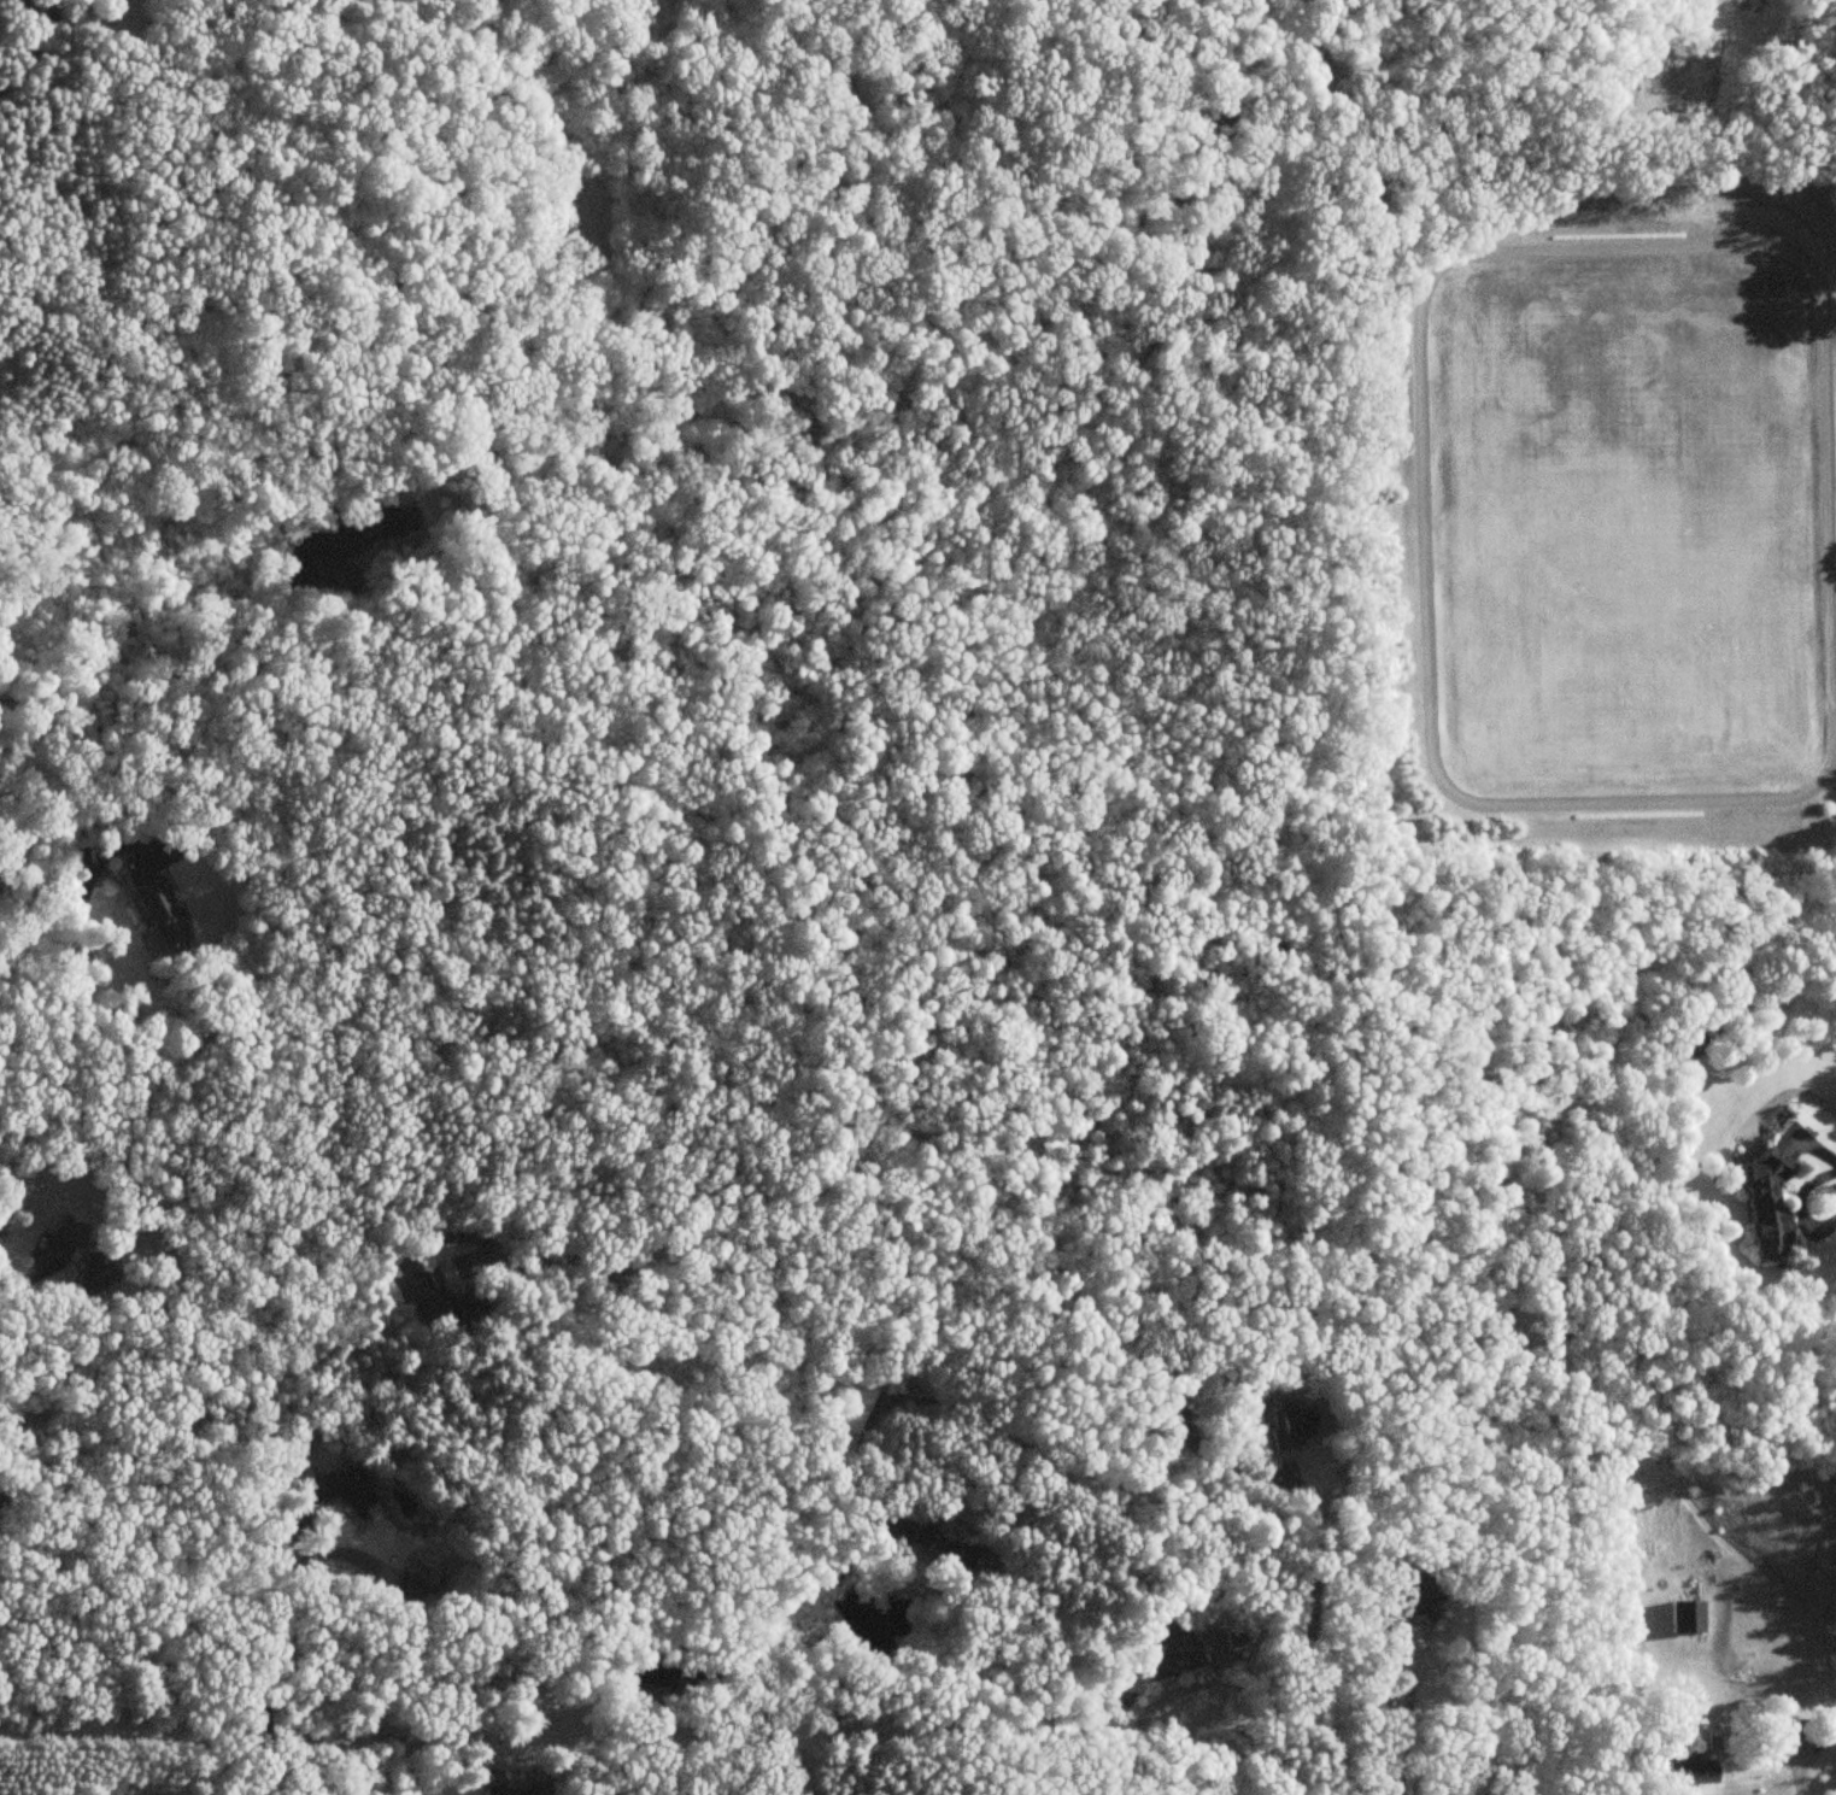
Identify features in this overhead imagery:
road: (19, 25)
road: (1415, 317)
road: (1834, 727)
building: (159, 916)
road: (72, 960)
road: (1787, 1090)
road: (1797, 1202)
building: (1764, 1204)
building: (66, 1230)
road: (458, 1238)
building: (89, 1273)
road: (12, 1281)
building: (446, 1308)
building: (1165, 1404)
building: (847, 1416)
building: (1286, 1424)
road: (780, 1429)
building: (347, 1485)
road: (1040, 1574)
building: (409, 1589)
building: (1684, 1618)
road: (1306, 1644)
building: (1169, 1652)
road: (1144, 1717)
road: (1406, 1729)
building: (1784, 1730)
building: (1687, 1766)
road: (1797, 1776)
building: (514, 1790)

